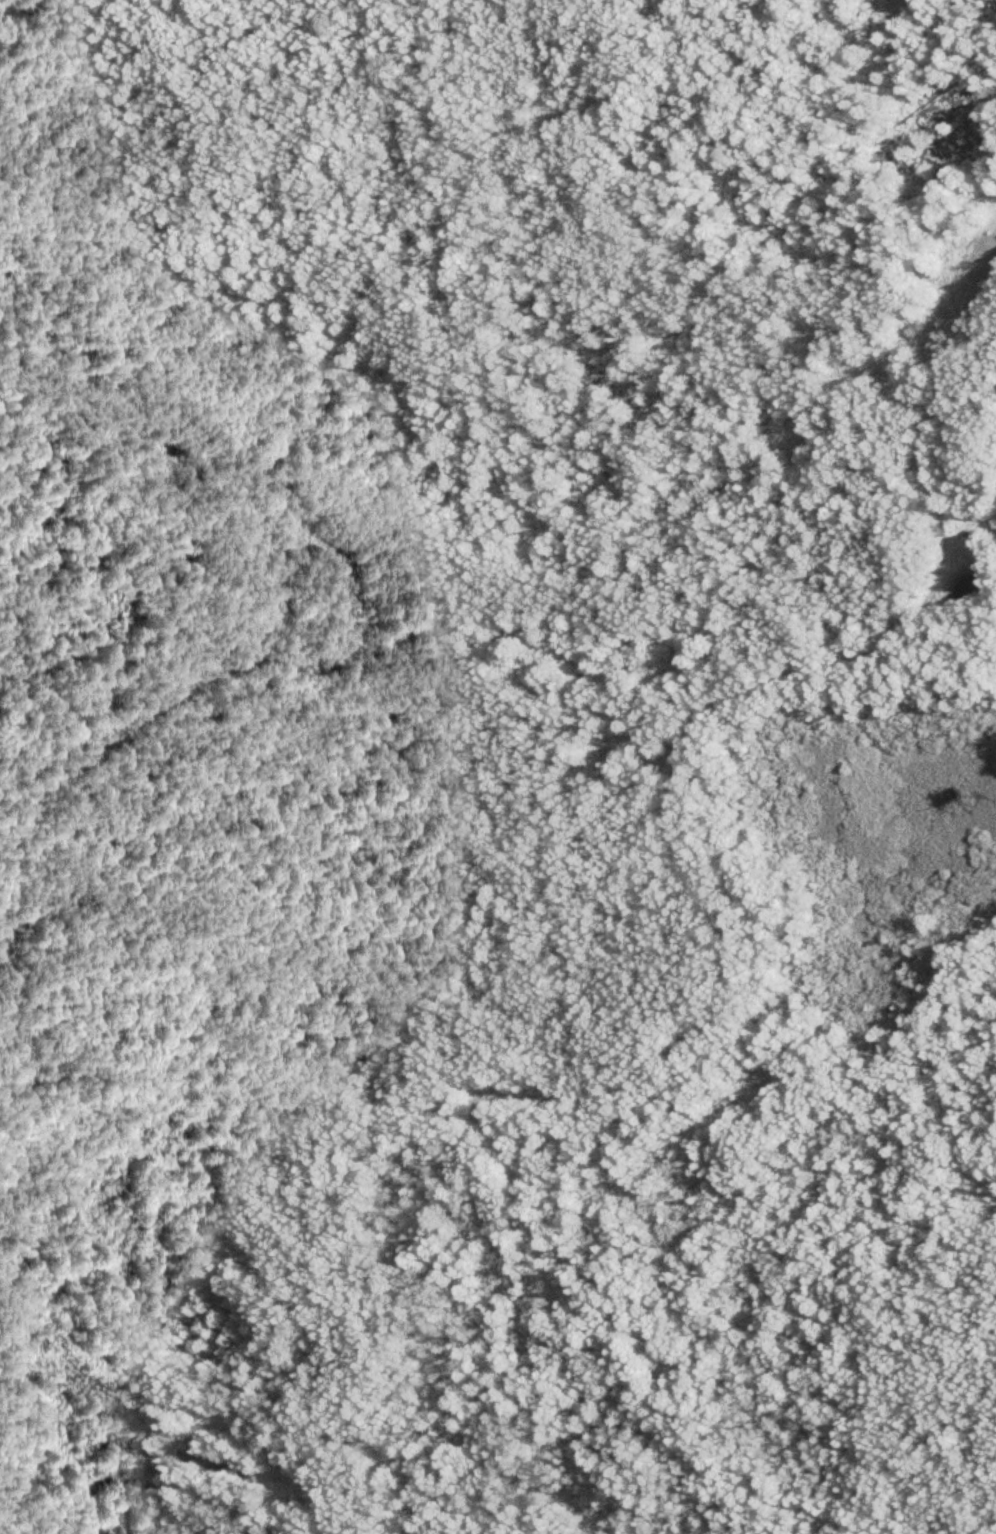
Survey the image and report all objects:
road: (702, 934)

